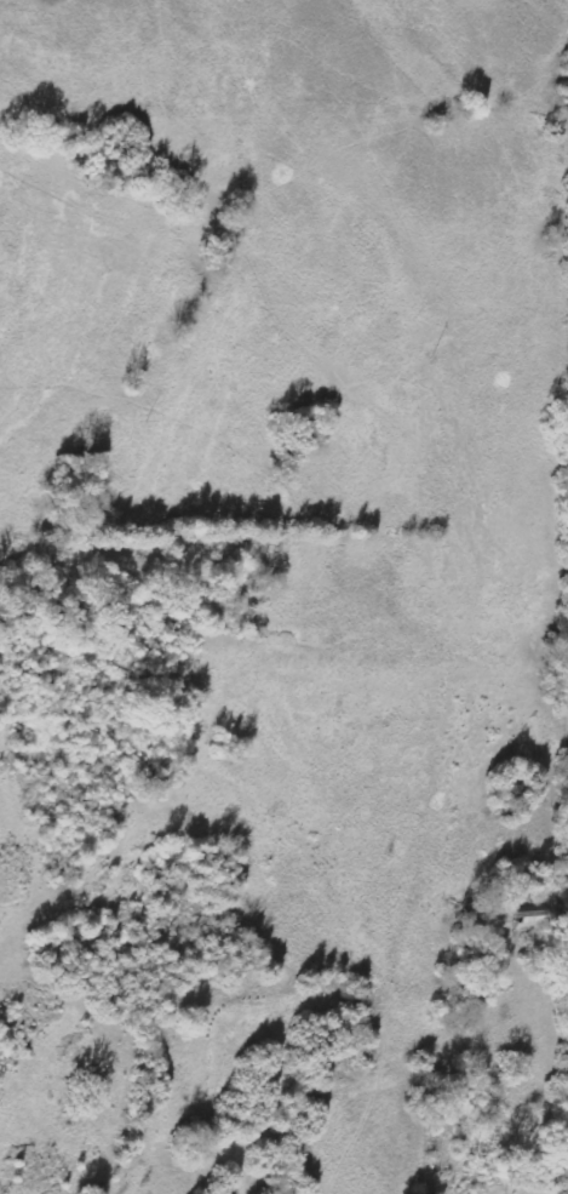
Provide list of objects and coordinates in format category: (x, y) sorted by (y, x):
road: (566, 594)
building: (532, 919)

